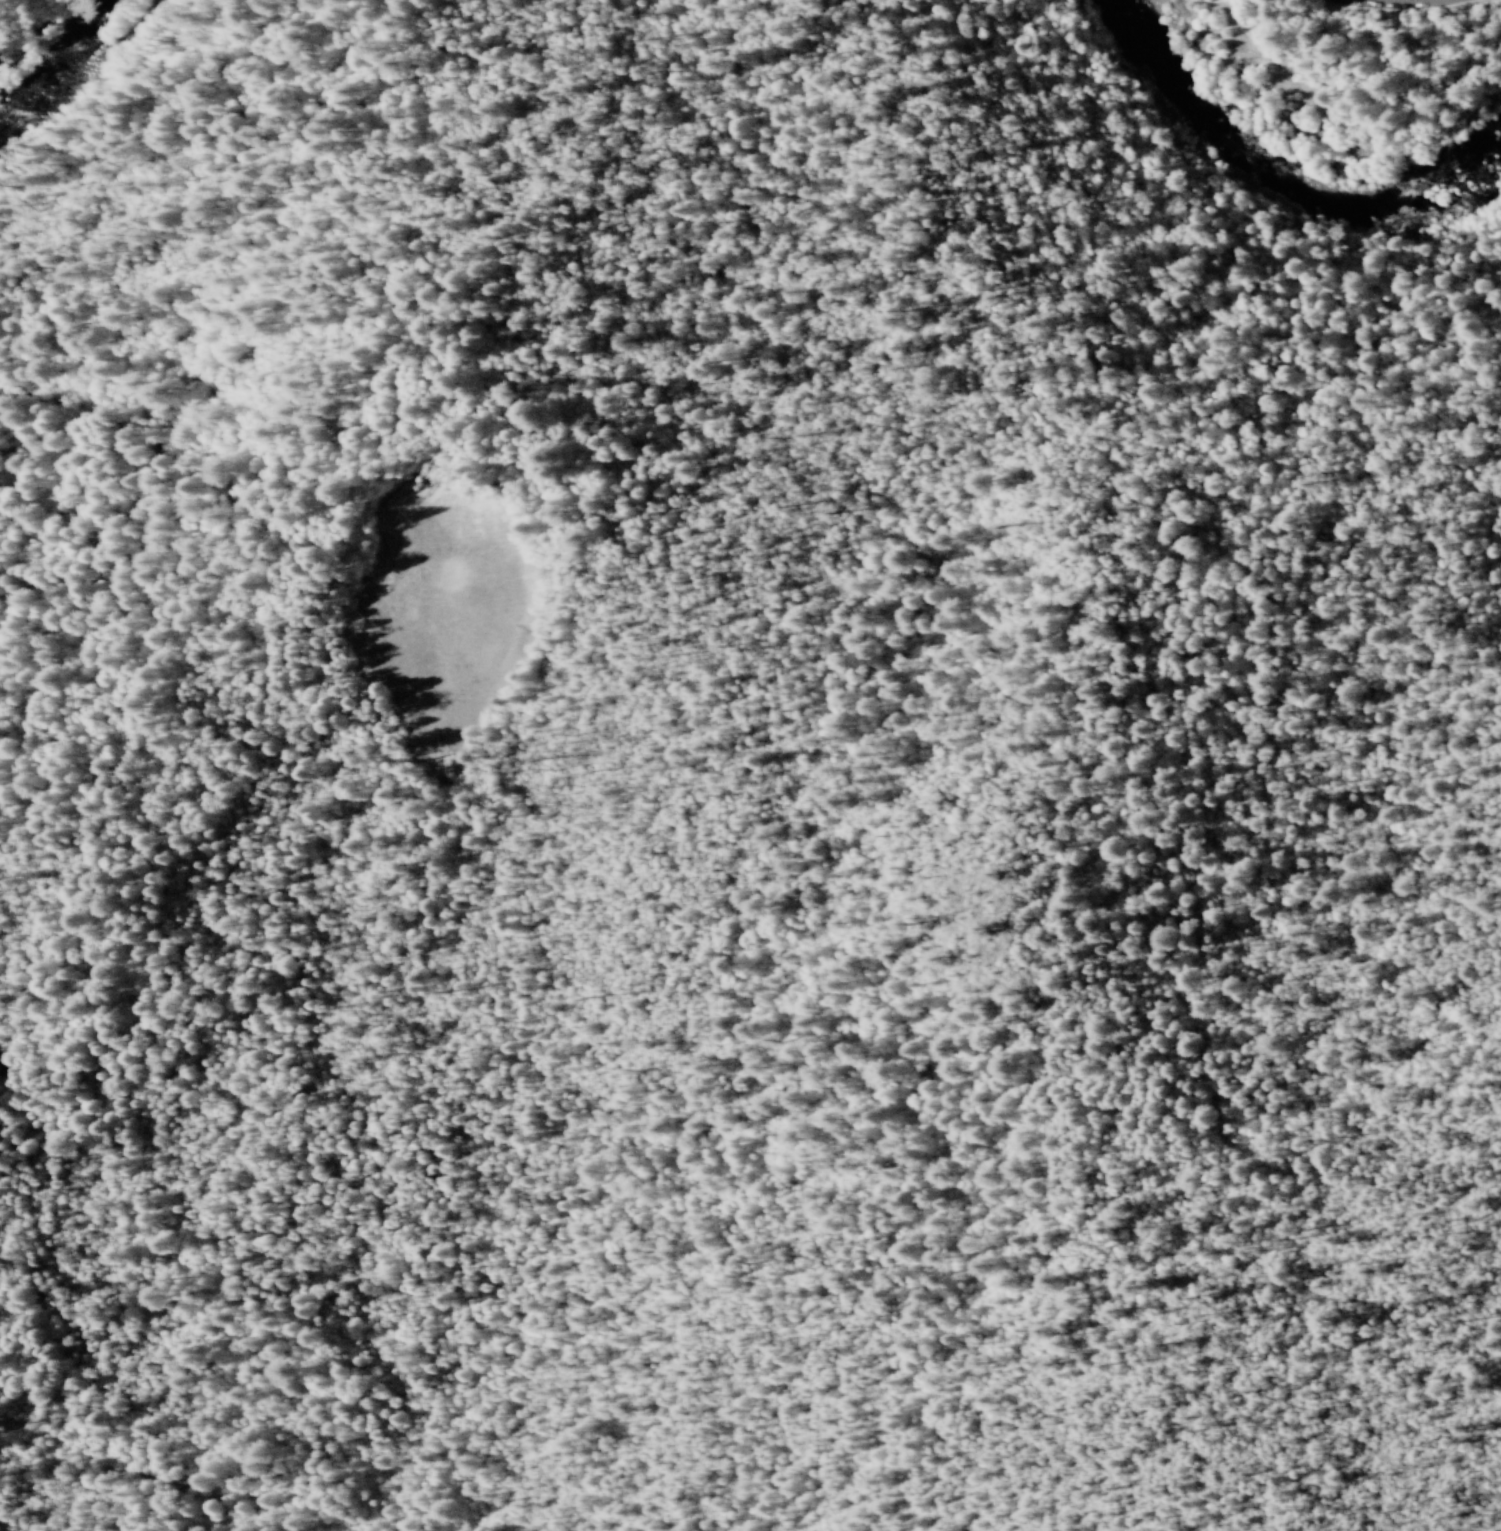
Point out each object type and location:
river: (37, 53)
river: (1175, 69)
river: (1369, 189)

